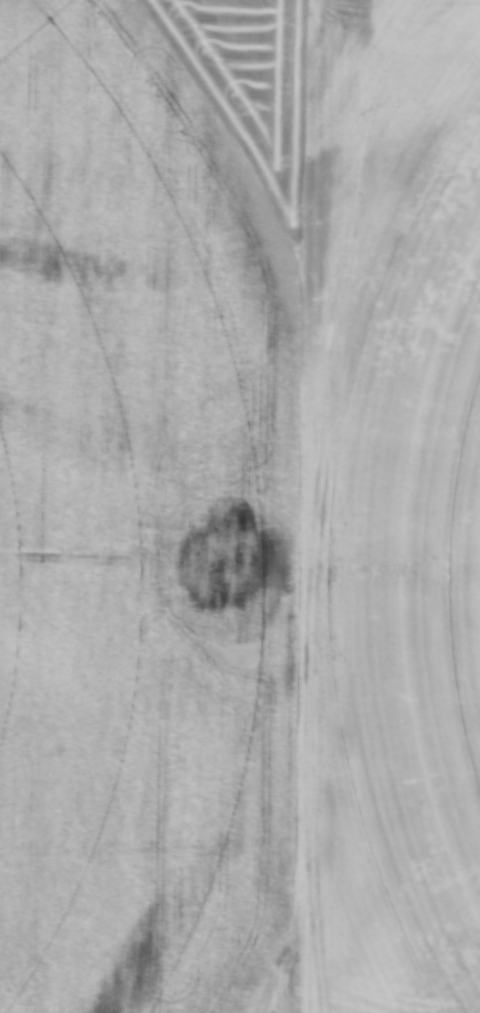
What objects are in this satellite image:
crop: (237, 493)

